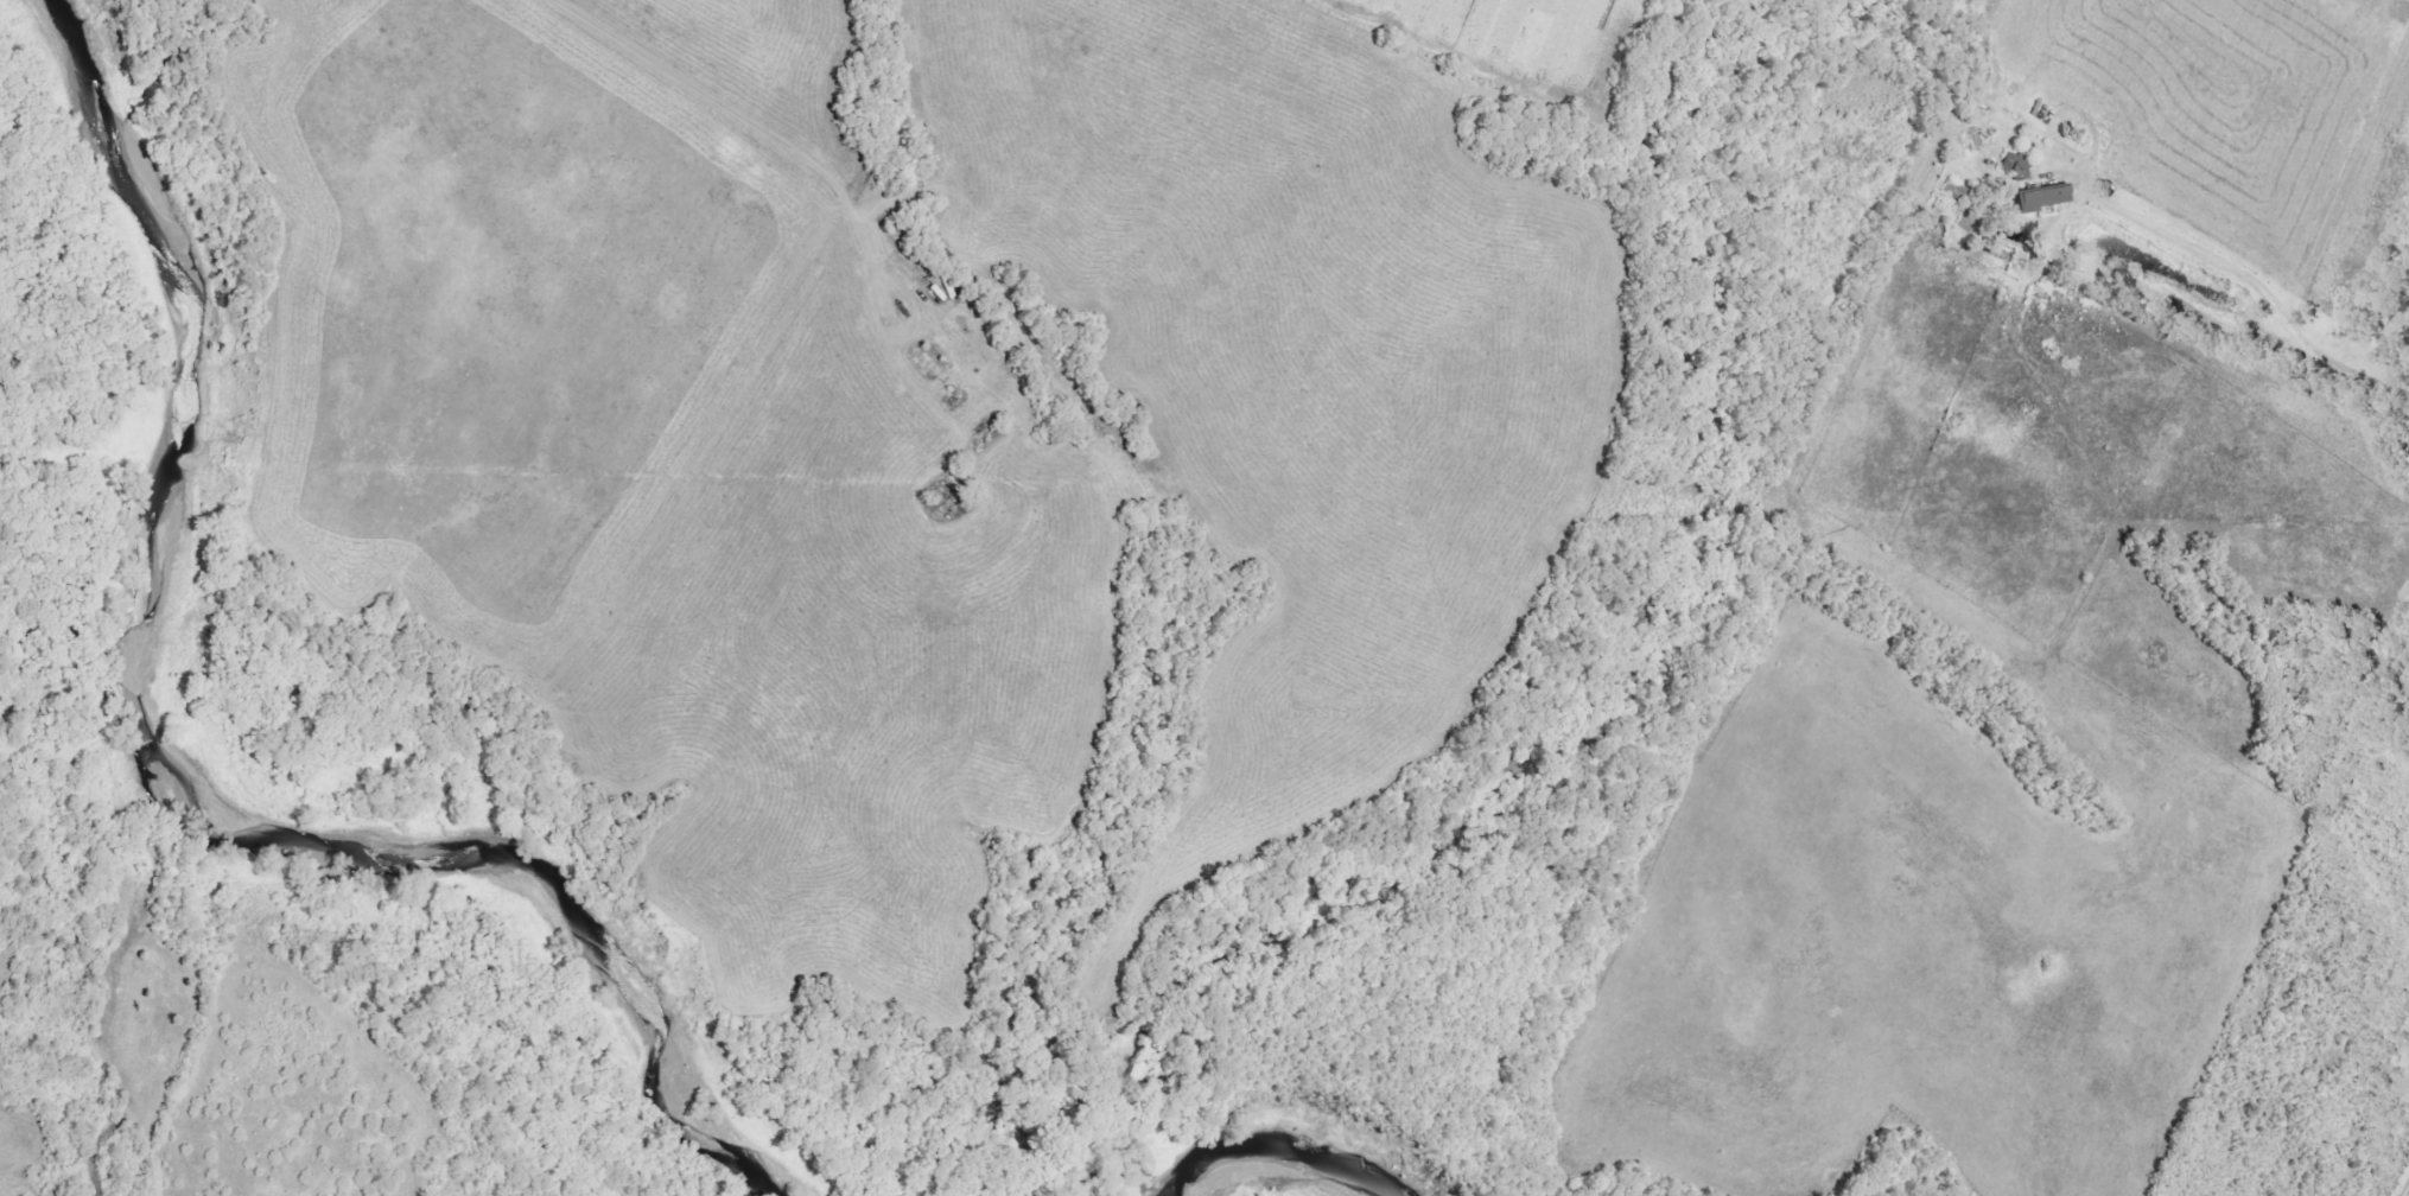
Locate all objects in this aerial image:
road: (684, 79)
building: (2038, 197)
road: (2256, 294)

